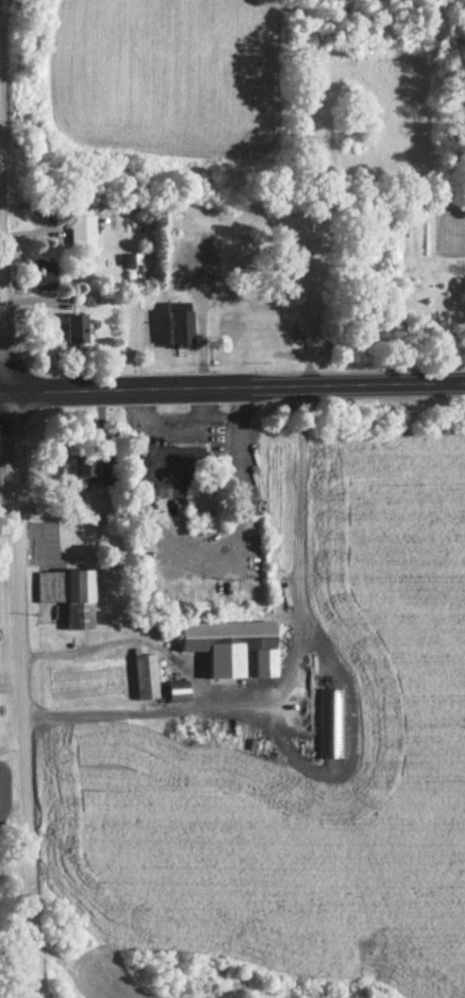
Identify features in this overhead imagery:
building: (80, 233)
parking lot: (196, 266)
building: (42, 271)
road: (3, 288)
road: (200, 312)
building: (178, 325)
building: (74, 329)
road: (232, 388)
road: (169, 426)
building: (76, 469)
building: (156, 469)
road: (241, 500)
building: (62, 594)
building: (226, 647)
road: (283, 676)
road: (10, 677)
building: (140, 677)
building: (169, 691)
road: (21, 695)
road: (11, 738)
road: (349, 739)

